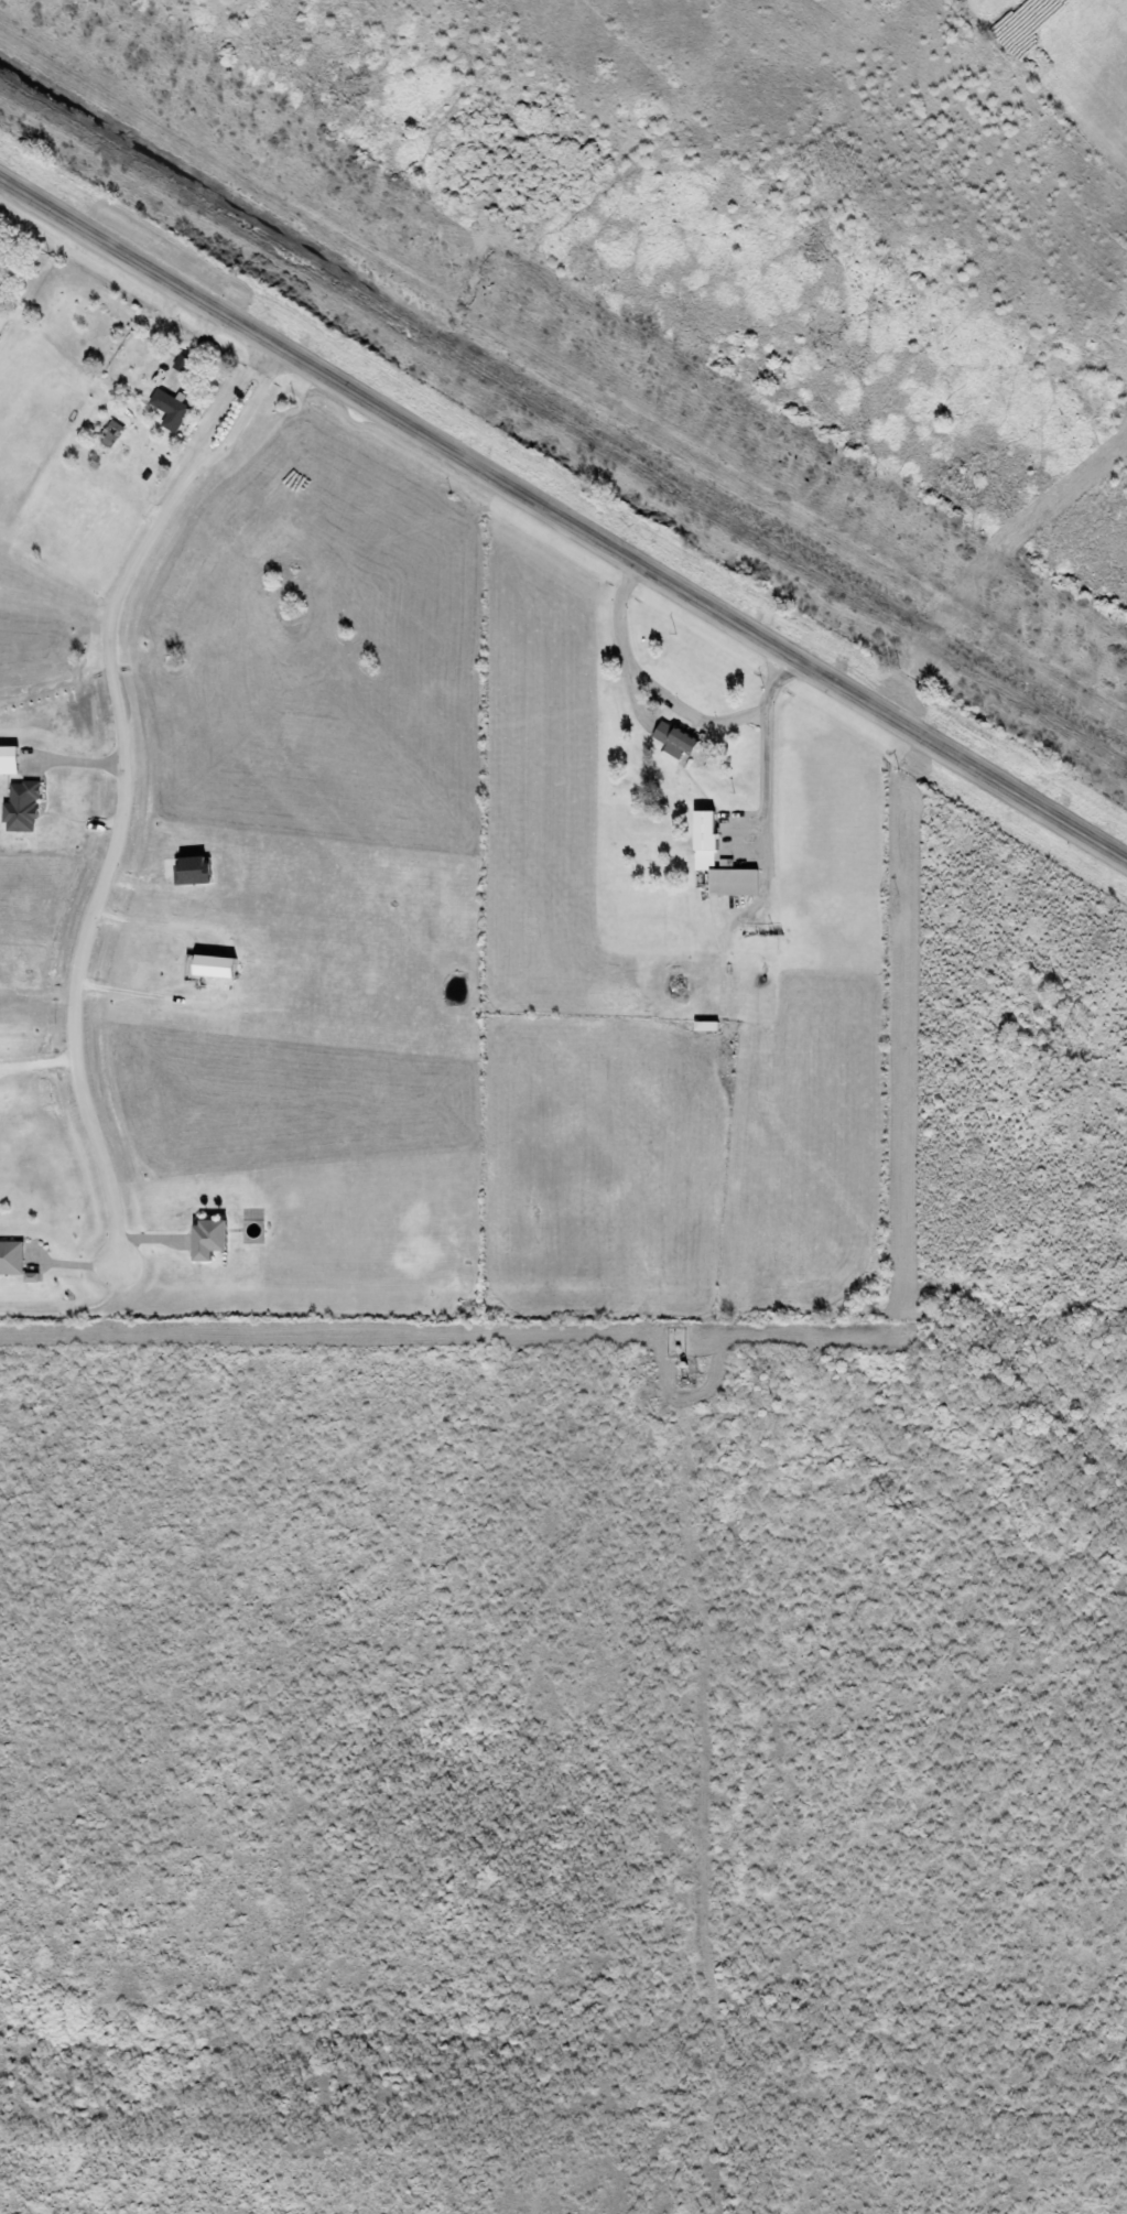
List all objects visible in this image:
airport: (1068, 61)
building: (170, 410)
road: (563, 517)
building: (673, 742)
building: (10, 756)
road: (121, 781)
building: (21, 808)
building: (704, 842)
building: (187, 872)
building: (732, 884)
building: (212, 968)
building: (206, 1240)
building: (11, 1259)

